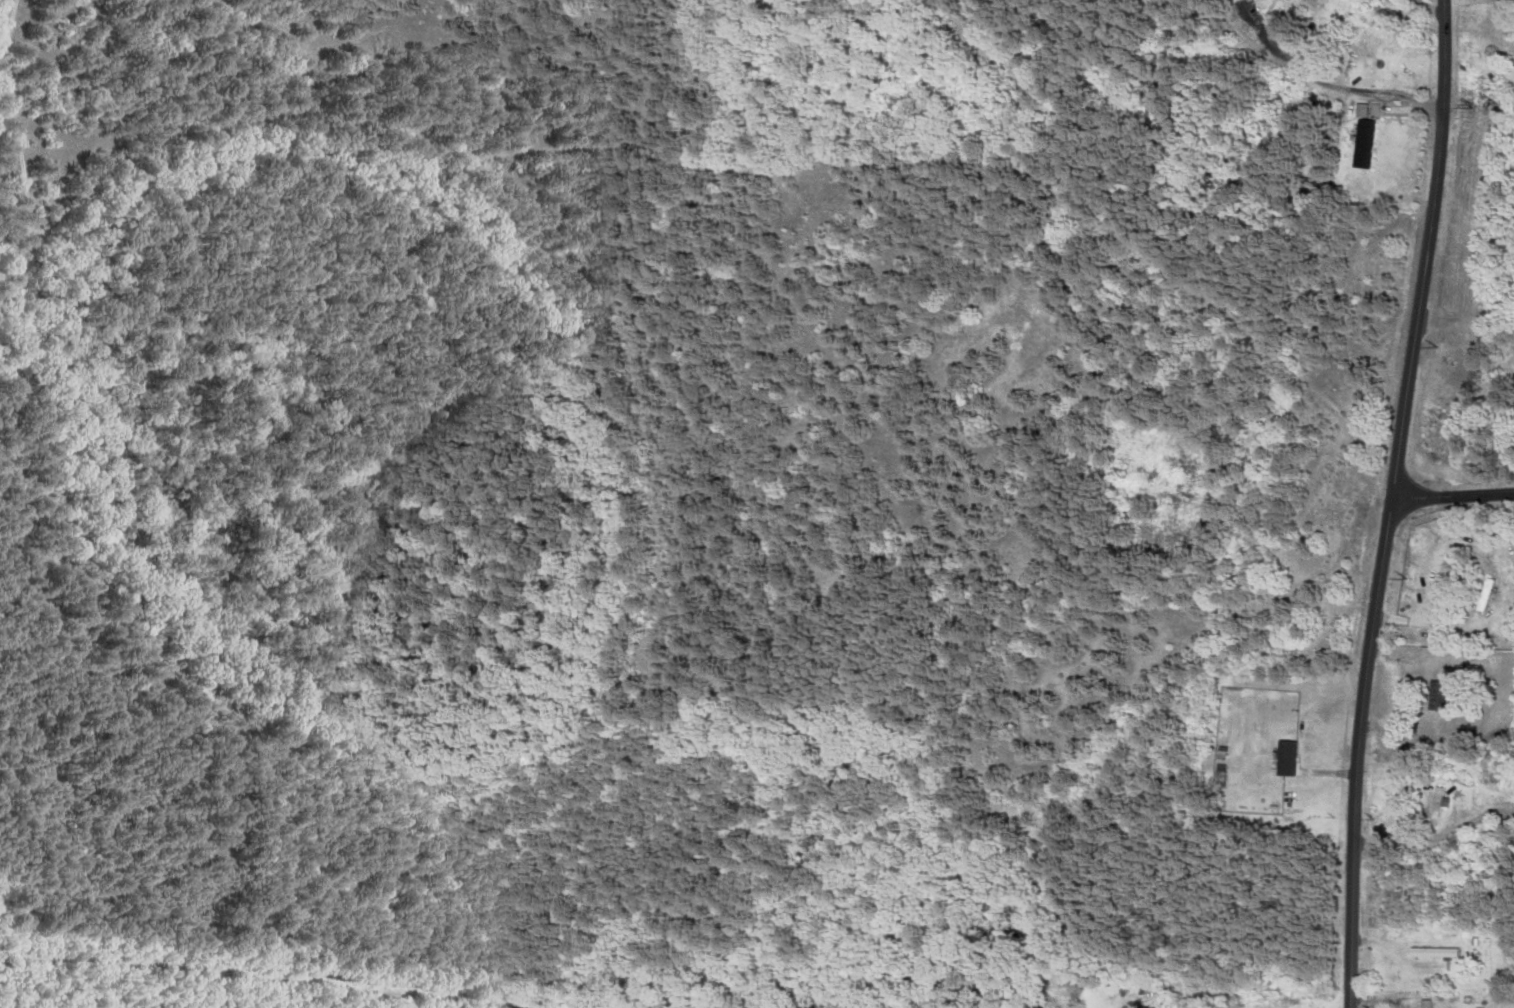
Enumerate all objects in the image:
building: (1363, 143)
road: (1453, 495)
road: (1391, 503)
building: (1481, 594)
building: (1435, 695)
building: (1283, 758)
building: (1434, 806)
building: (1431, 953)

